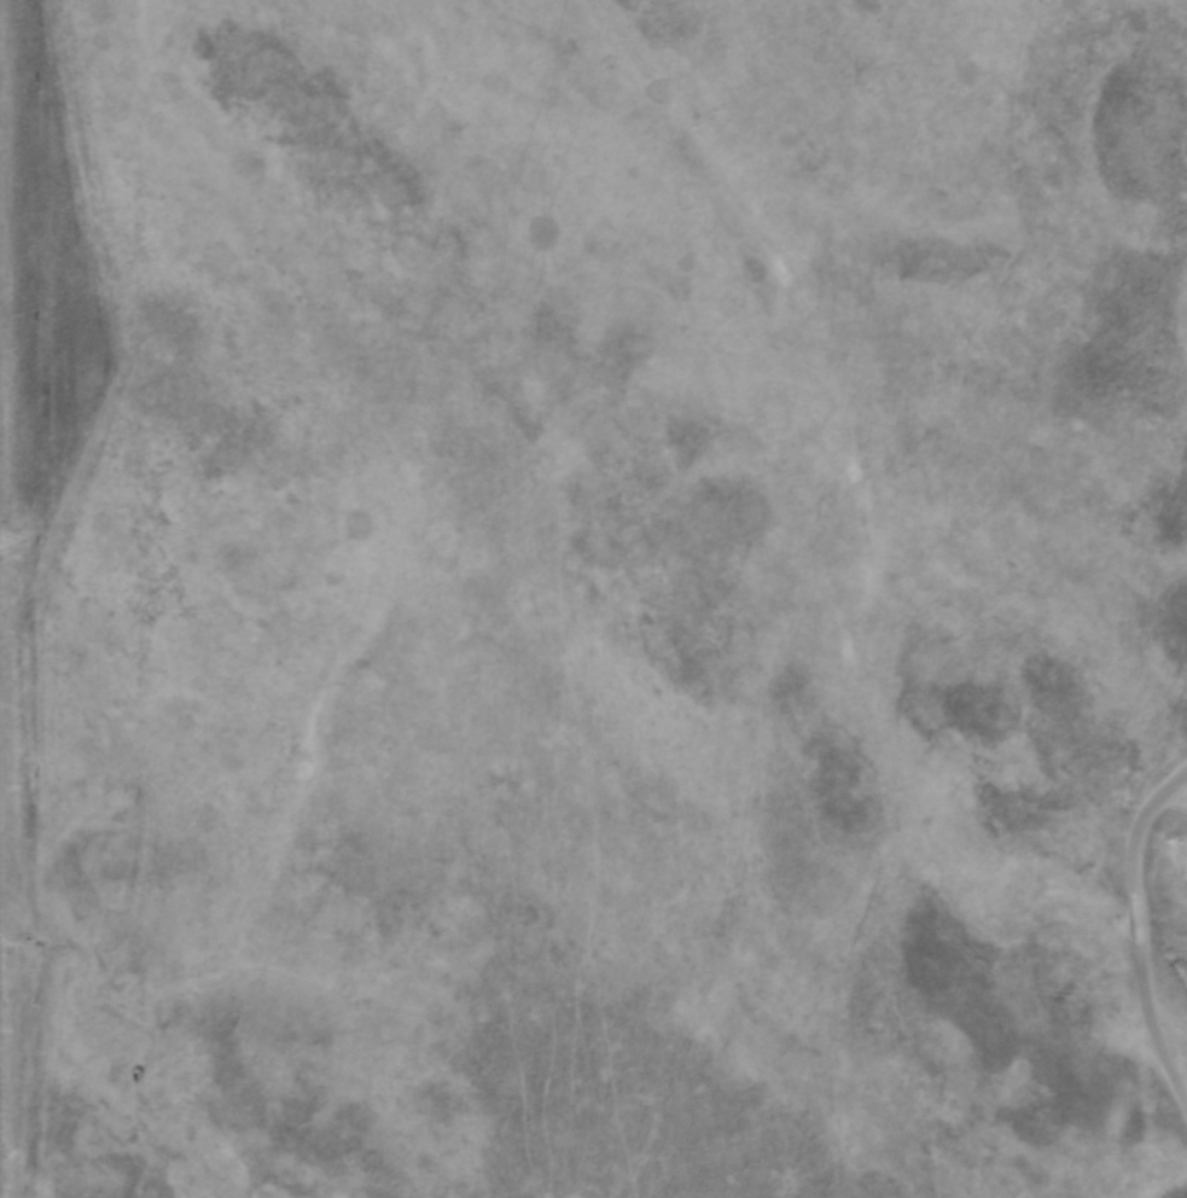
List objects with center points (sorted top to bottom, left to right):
road: (1146, 938)

